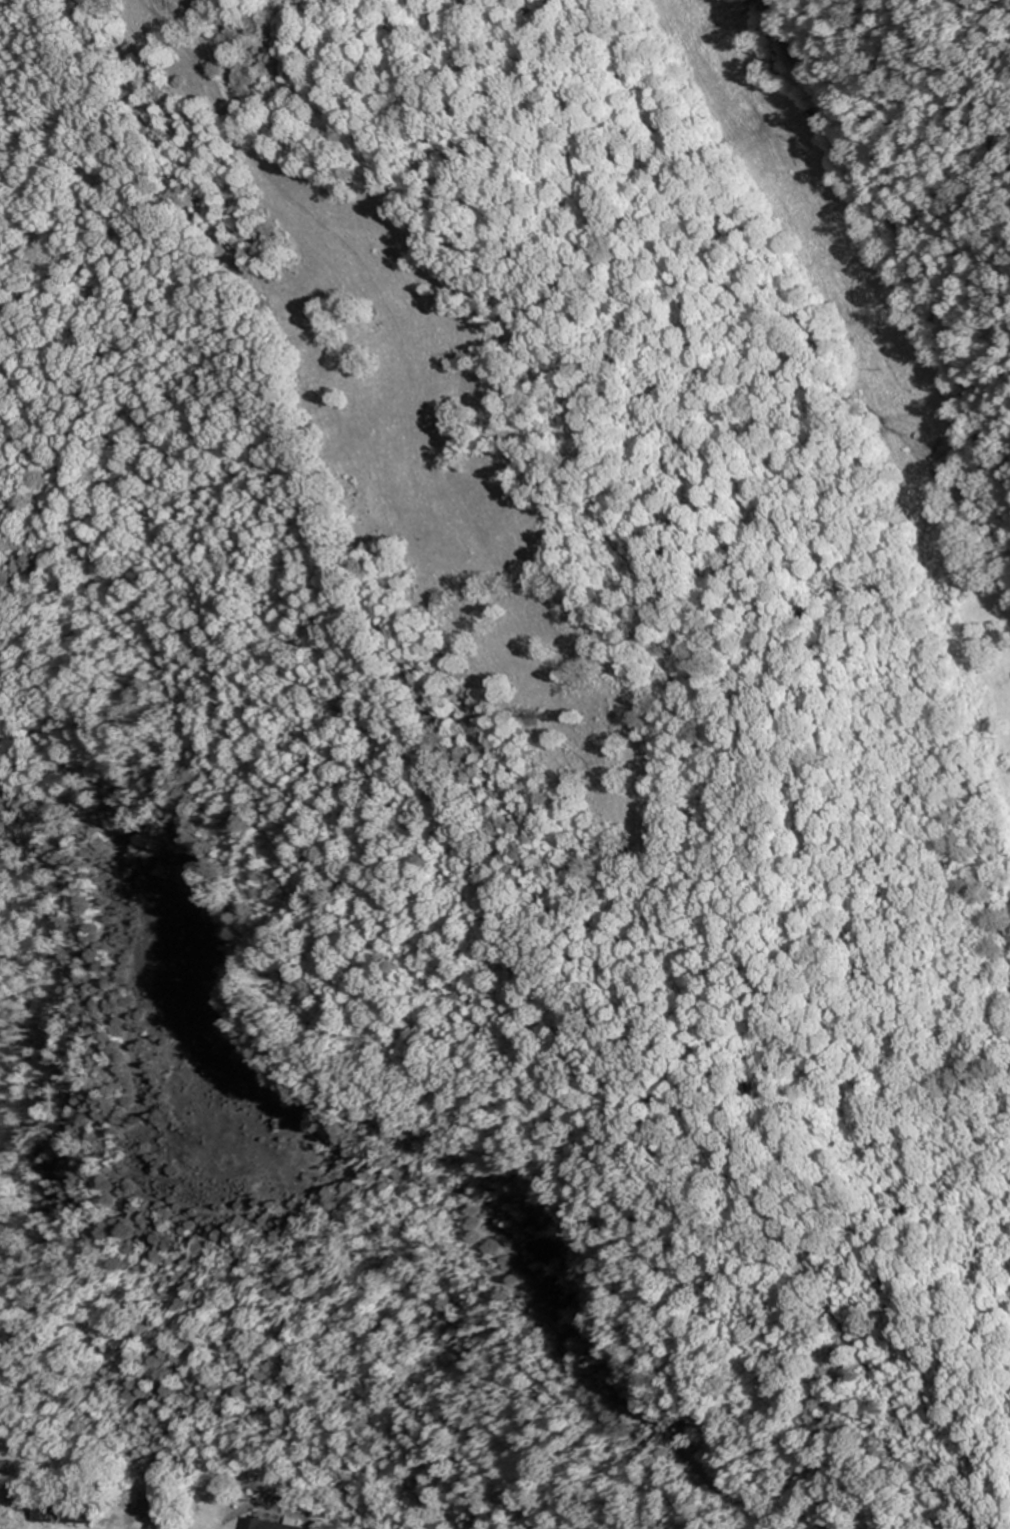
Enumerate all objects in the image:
road: (894, 228)
building: (998, 636)
building: (6, 1467)
building: (55, 1508)
building: (274, 1524)

